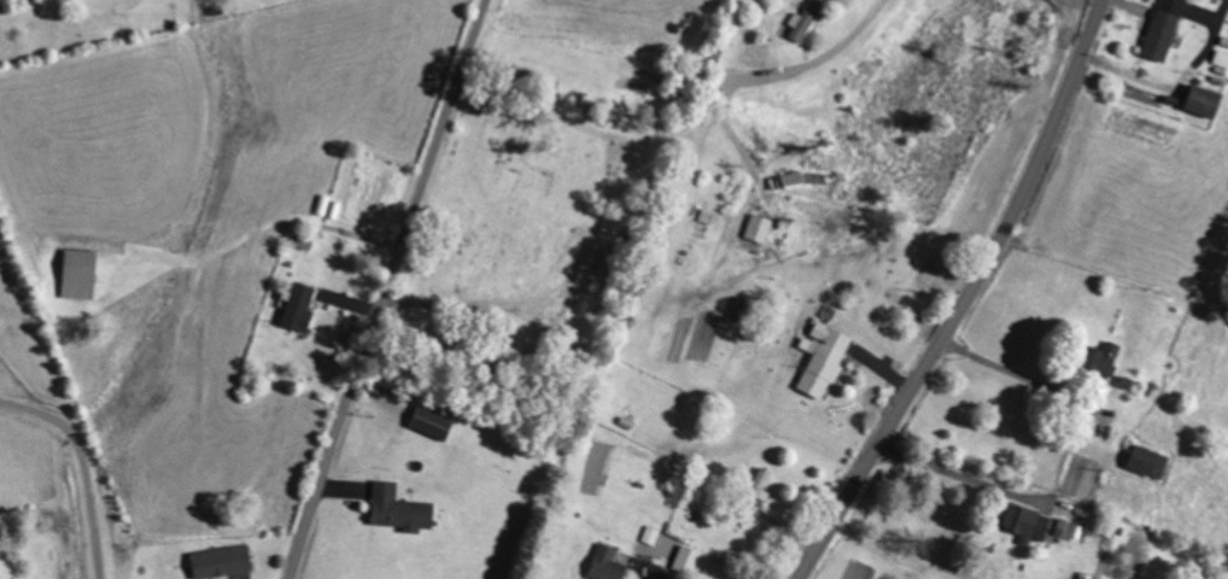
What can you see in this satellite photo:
building: (808, 19)
building: (1166, 29)
building: (1222, 59)
building: (1209, 101)
park: (540, 206)
building: (762, 227)
building: (305, 240)
building: (83, 274)
road: (387, 288)
road: (969, 297)
building: (303, 306)
building: (828, 358)
building: (1105, 358)
building: (435, 422)
building: (1153, 461)
building: (403, 509)
building: (1029, 524)
building: (1068, 528)
building: (651, 538)
building: (690, 560)
building: (224, 561)
building: (610, 563)
building: (0, 578)

